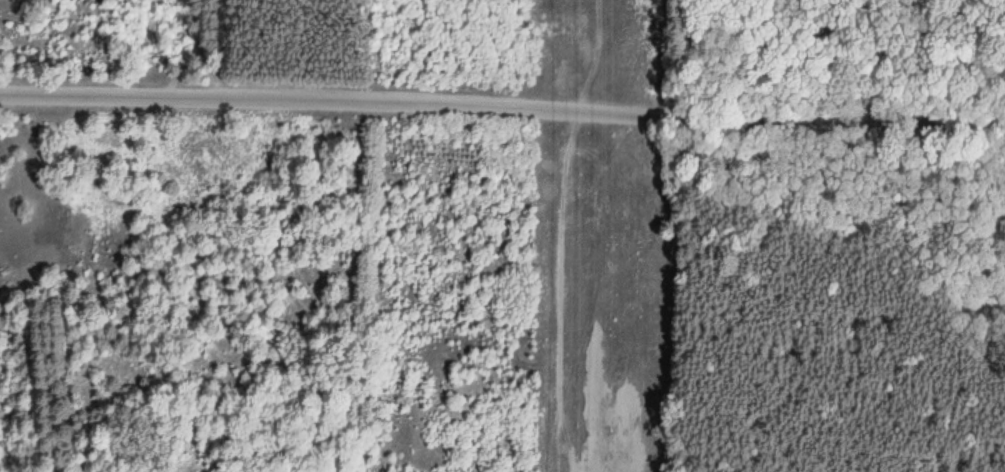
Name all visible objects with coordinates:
road: (936, 54)
road: (502, 102)

